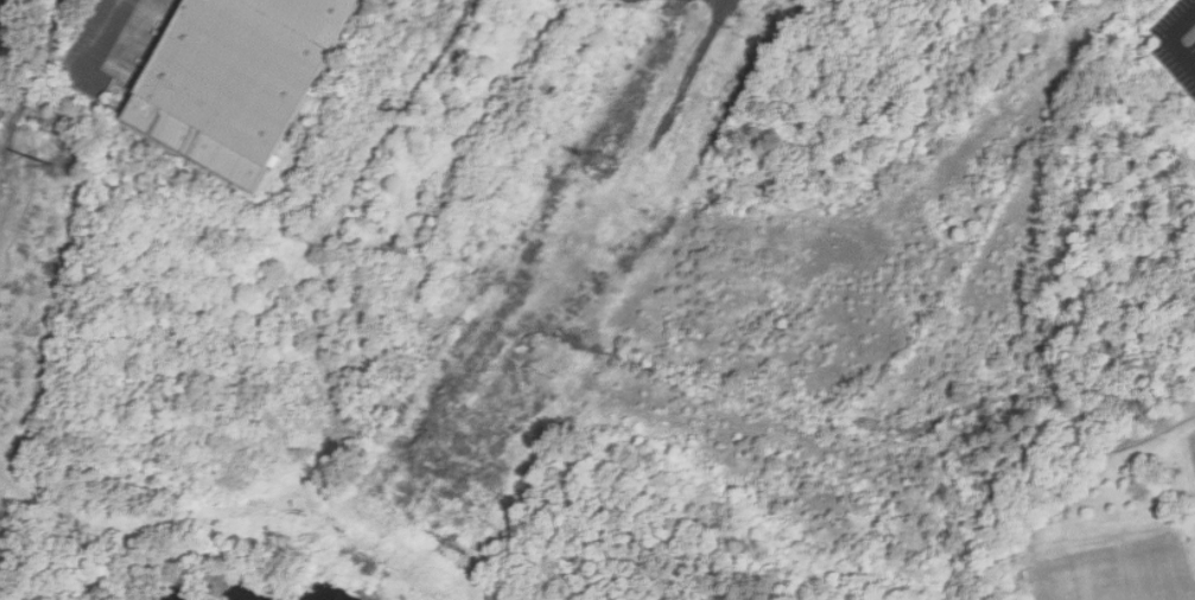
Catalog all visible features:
road: (2, 8)
road: (120, 31)
road: (1164, 39)
building: (240, 79)
power tower: (602, 164)
park: (698, 503)
park: (1127, 583)
river: (260, 593)

